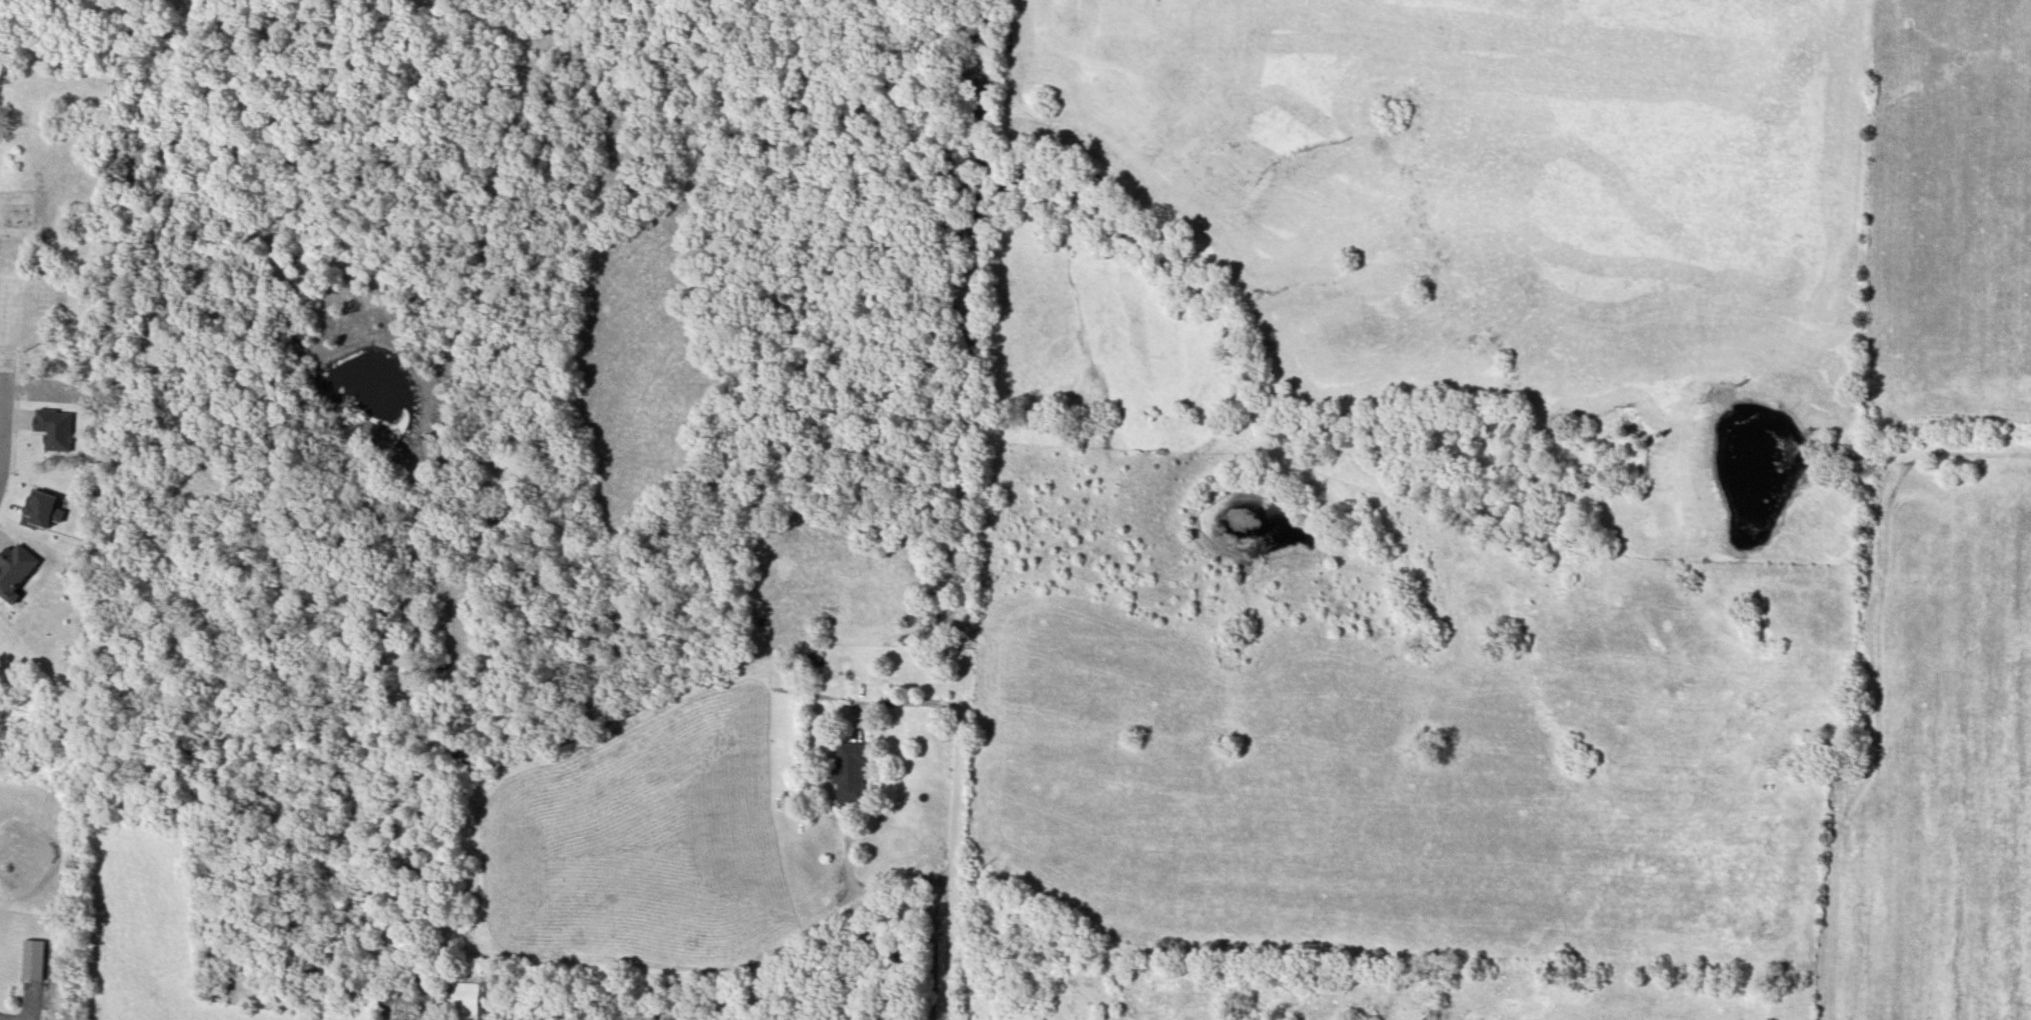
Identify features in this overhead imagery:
park: (51, 181)
road: (3, 232)
road: (5, 398)
building: (17, 571)
road: (855, 724)
building: (850, 774)
road: (847, 851)
road: (953, 865)
road: (475, 867)
building: (35, 961)
building: (466, 990)

